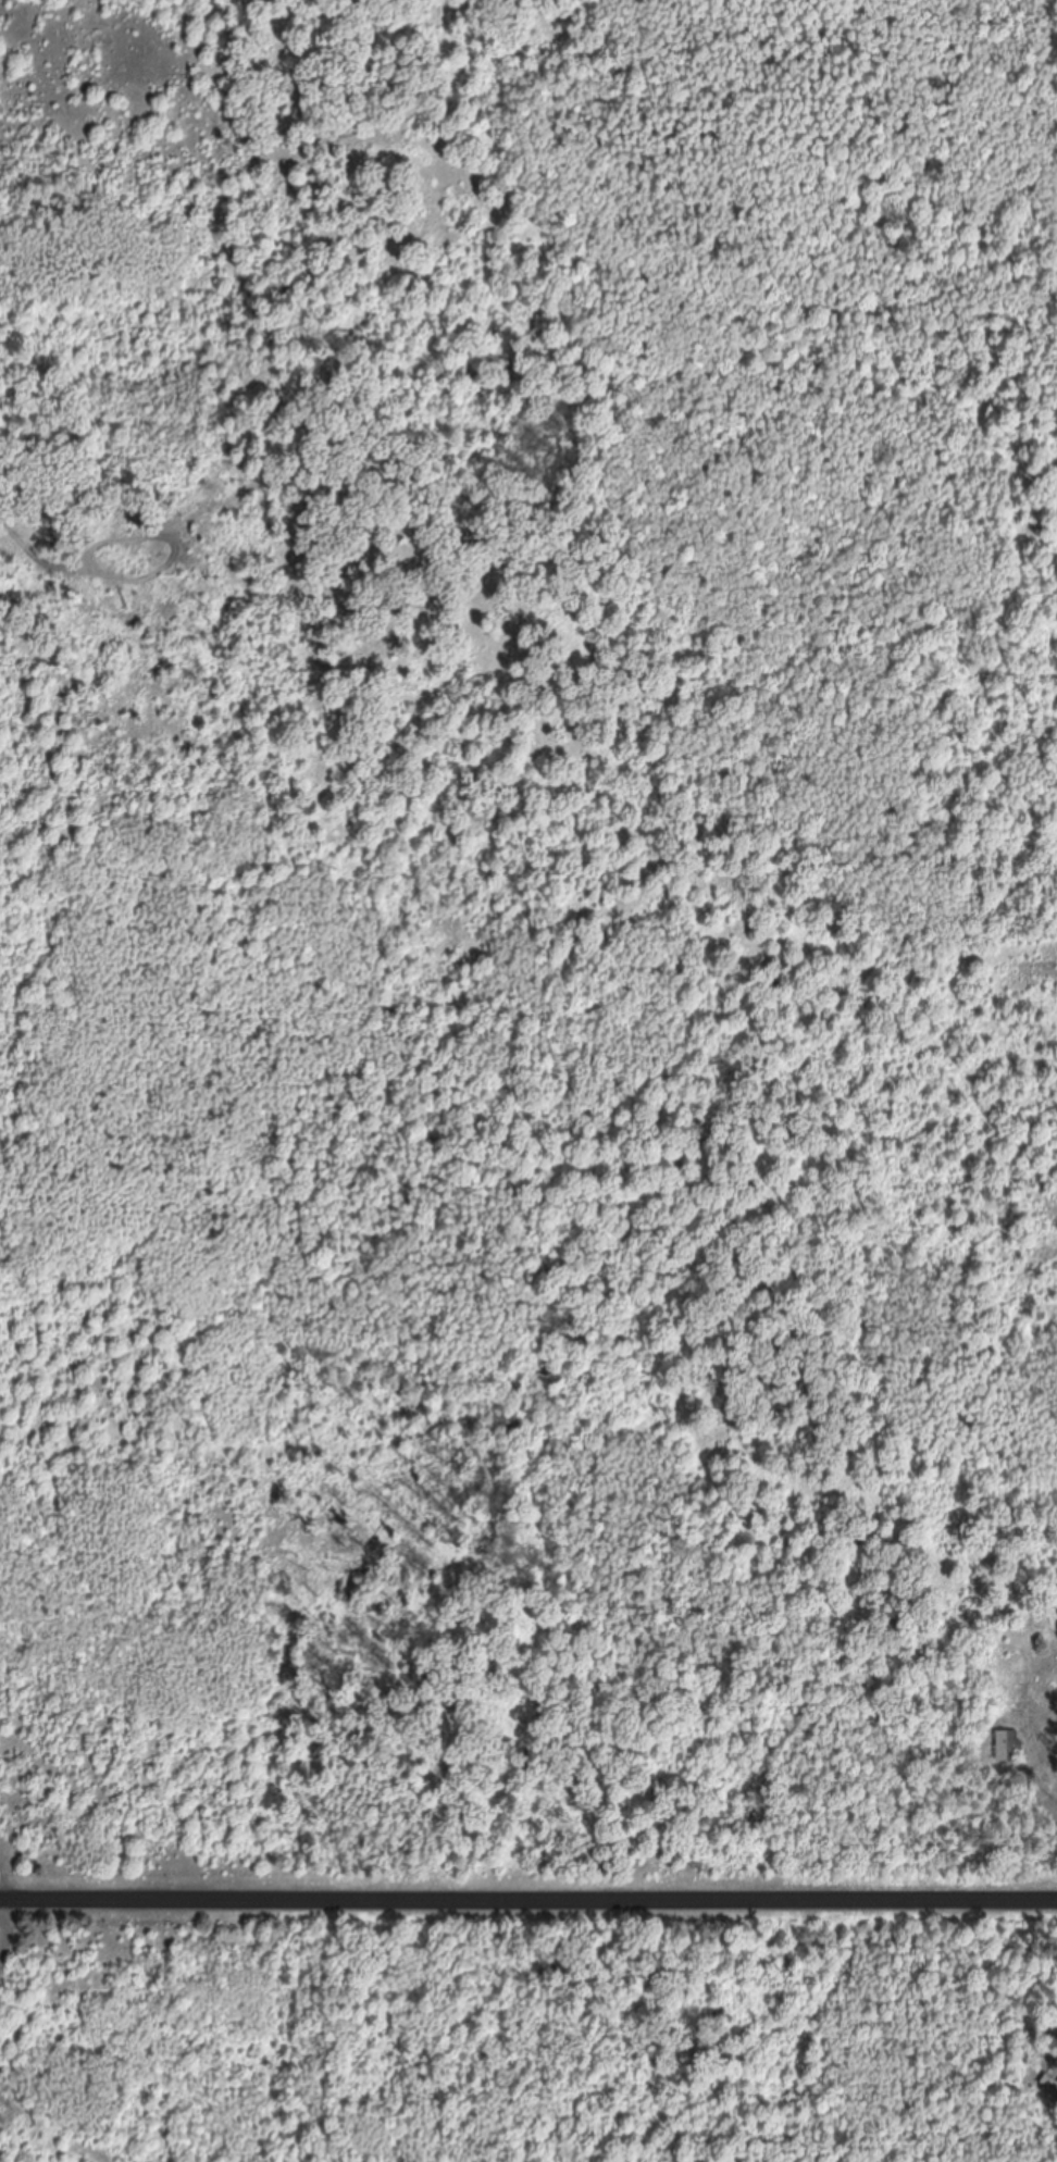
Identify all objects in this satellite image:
building: (1008, 1747)
road: (528, 1879)
road: (1, 1908)
building: (1050, 2083)

